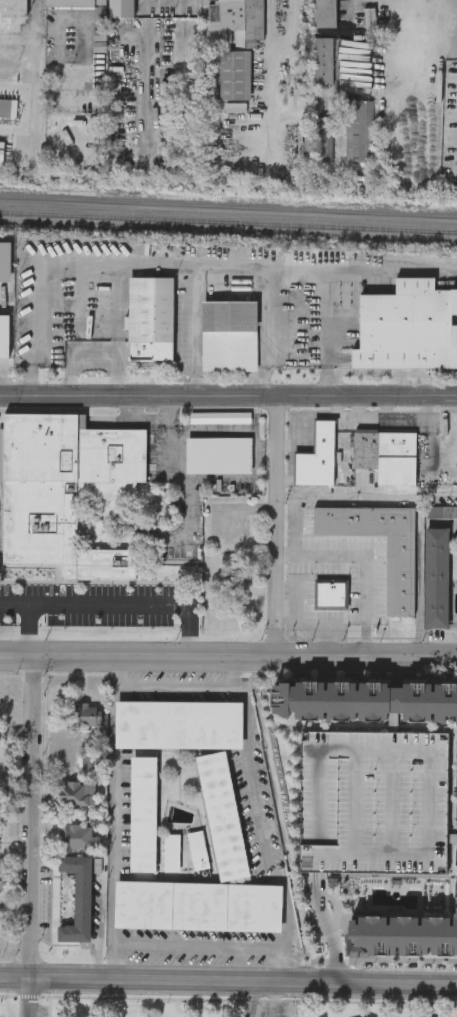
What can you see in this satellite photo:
building: (70, 4)
building: (13, 8)
building: (122, 9)
building: (326, 13)
building: (243, 19)
building: (369, 24)
building: (324, 60)
building: (236, 75)
building: (8, 107)
building: (357, 130)
building: (2, 151)
railway: (228, 204)
railway: (228, 220)
road: (186, 269)
road: (113, 318)
building: (151, 318)
building: (408, 328)
road: (188, 332)
road: (267, 333)
road: (325, 333)
building: (230, 335)
building: (4, 336)
road: (93, 363)
road: (228, 395)
building: (388, 456)
building: (319, 458)
building: (65, 491)
road: (366, 493)
building: (441, 510)
road: (276, 527)
road: (374, 559)
building: (399, 574)
road: (419, 576)
building: (437, 577)
building: (330, 593)
road: (107, 603)
road: (16, 604)
road: (310, 626)
road: (228, 658)
road: (118, 670)
road: (234, 671)
building: (366, 701)
building: (84, 713)
building: (178, 725)
building: (434, 731)
road: (246, 732)
building: (0, 739)
building: (78, 792)
parking lot: (373, 801)
building: (145, 815)
building: (223, 817)
road: (27, 818)
building: (79, 837)
building: (437, 843)
building: (198, 850)
building: (171, 852)
building: (456, 875)
building: (4, 883)
building: (79, 898)
building: (198, 906)
road: (326, 926)
building: (405, 935)
road: (279, 964)
road: (15, 978)
road: (244, 981)
road: (30, 997)
road: (244, 999)
road: (256, 999)
road: (276, 999)
road: (399, 1000)
parking lot: (276, 1010)

